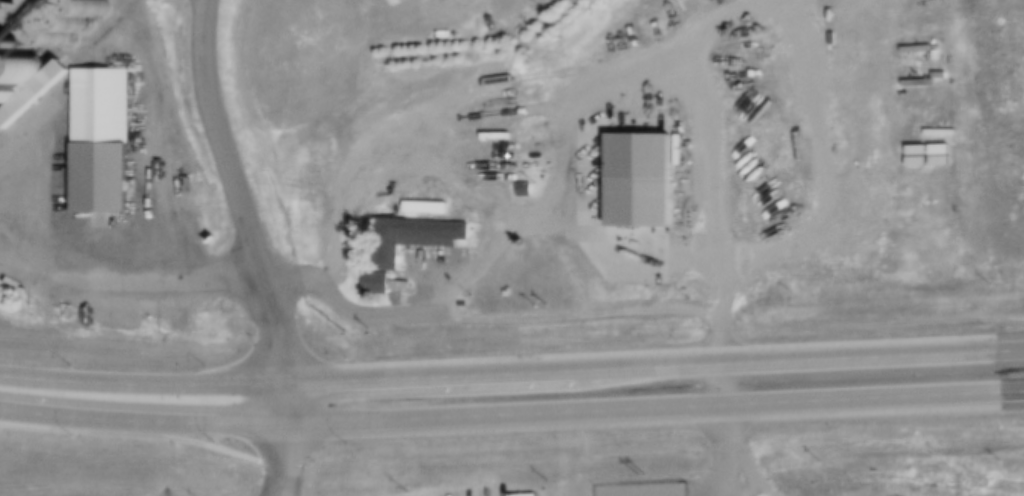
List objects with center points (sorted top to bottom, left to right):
building: (408, 2)
building: (4, 3)
building: (79, 22)
silo: (79, 22)
building: (273, 50)
building: (20, 70)
silo: (20, 70)
building: (1, 95)
building: (35, 101)
building: (325, 120)
building: (103, 144)
building: (641, 186)
building: (524, 189)
road: (243, 211)
building: (415, 244)
building: (733, 260)
road: (117, 284)
building: (381, 290)
road: (1011, 349)
road: (641, 366)
road: (141, 382)
road: (719, 384)
road: (1013, 391)
road: (643, 408)
road: (141, 420)
road: (720, 450)
road: (283, 459)
power substation: (648, 489)

